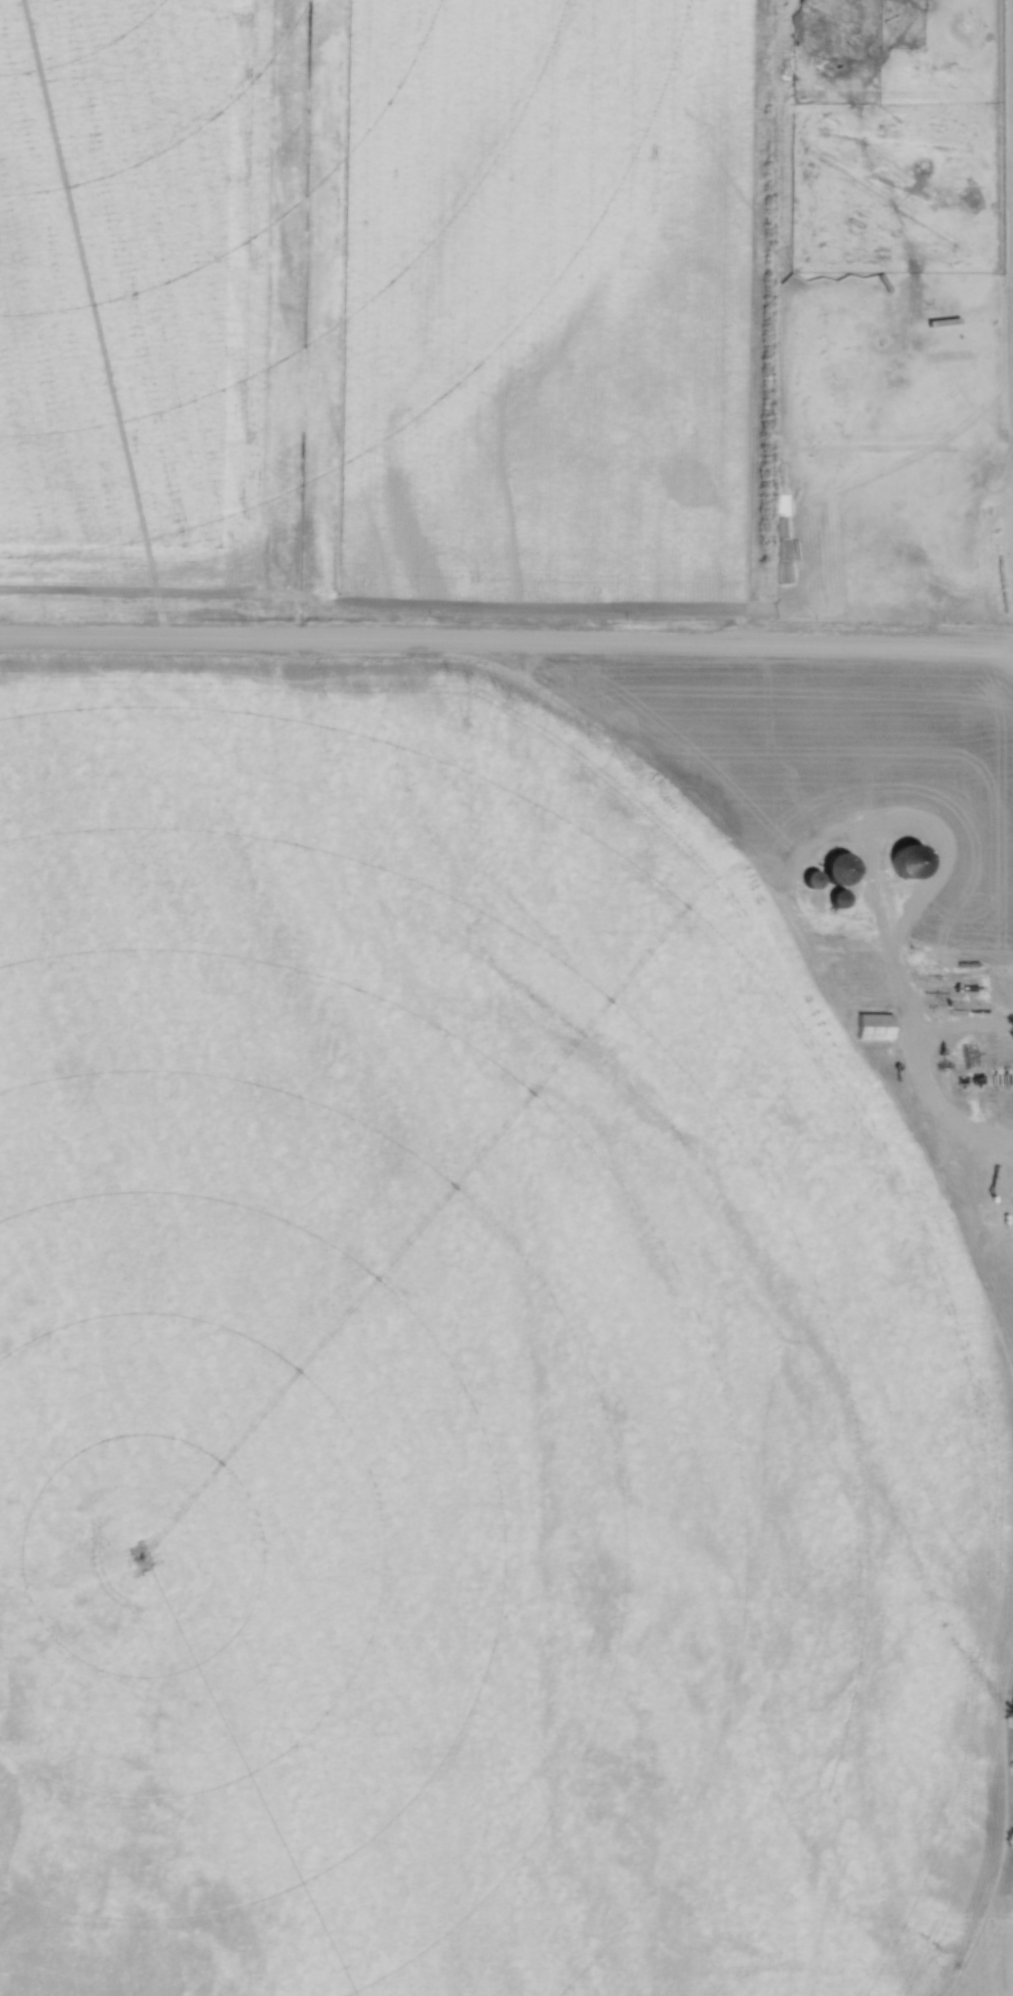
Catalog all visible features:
crop: (134, 292)
crop: (542, 303)
road: (506, 645)
road: (807, 842)
building: (839, 868)
silo: (839, 868)
building: (812, 878)
silo: (812, 878)
building: (817, 898)
silo: (817, 898)
building: (841, 898)
silo: (841, 898)
building: (942, 969)
building: (874, 1026)
road: (922, 1069)
crop: (463, 1379)

